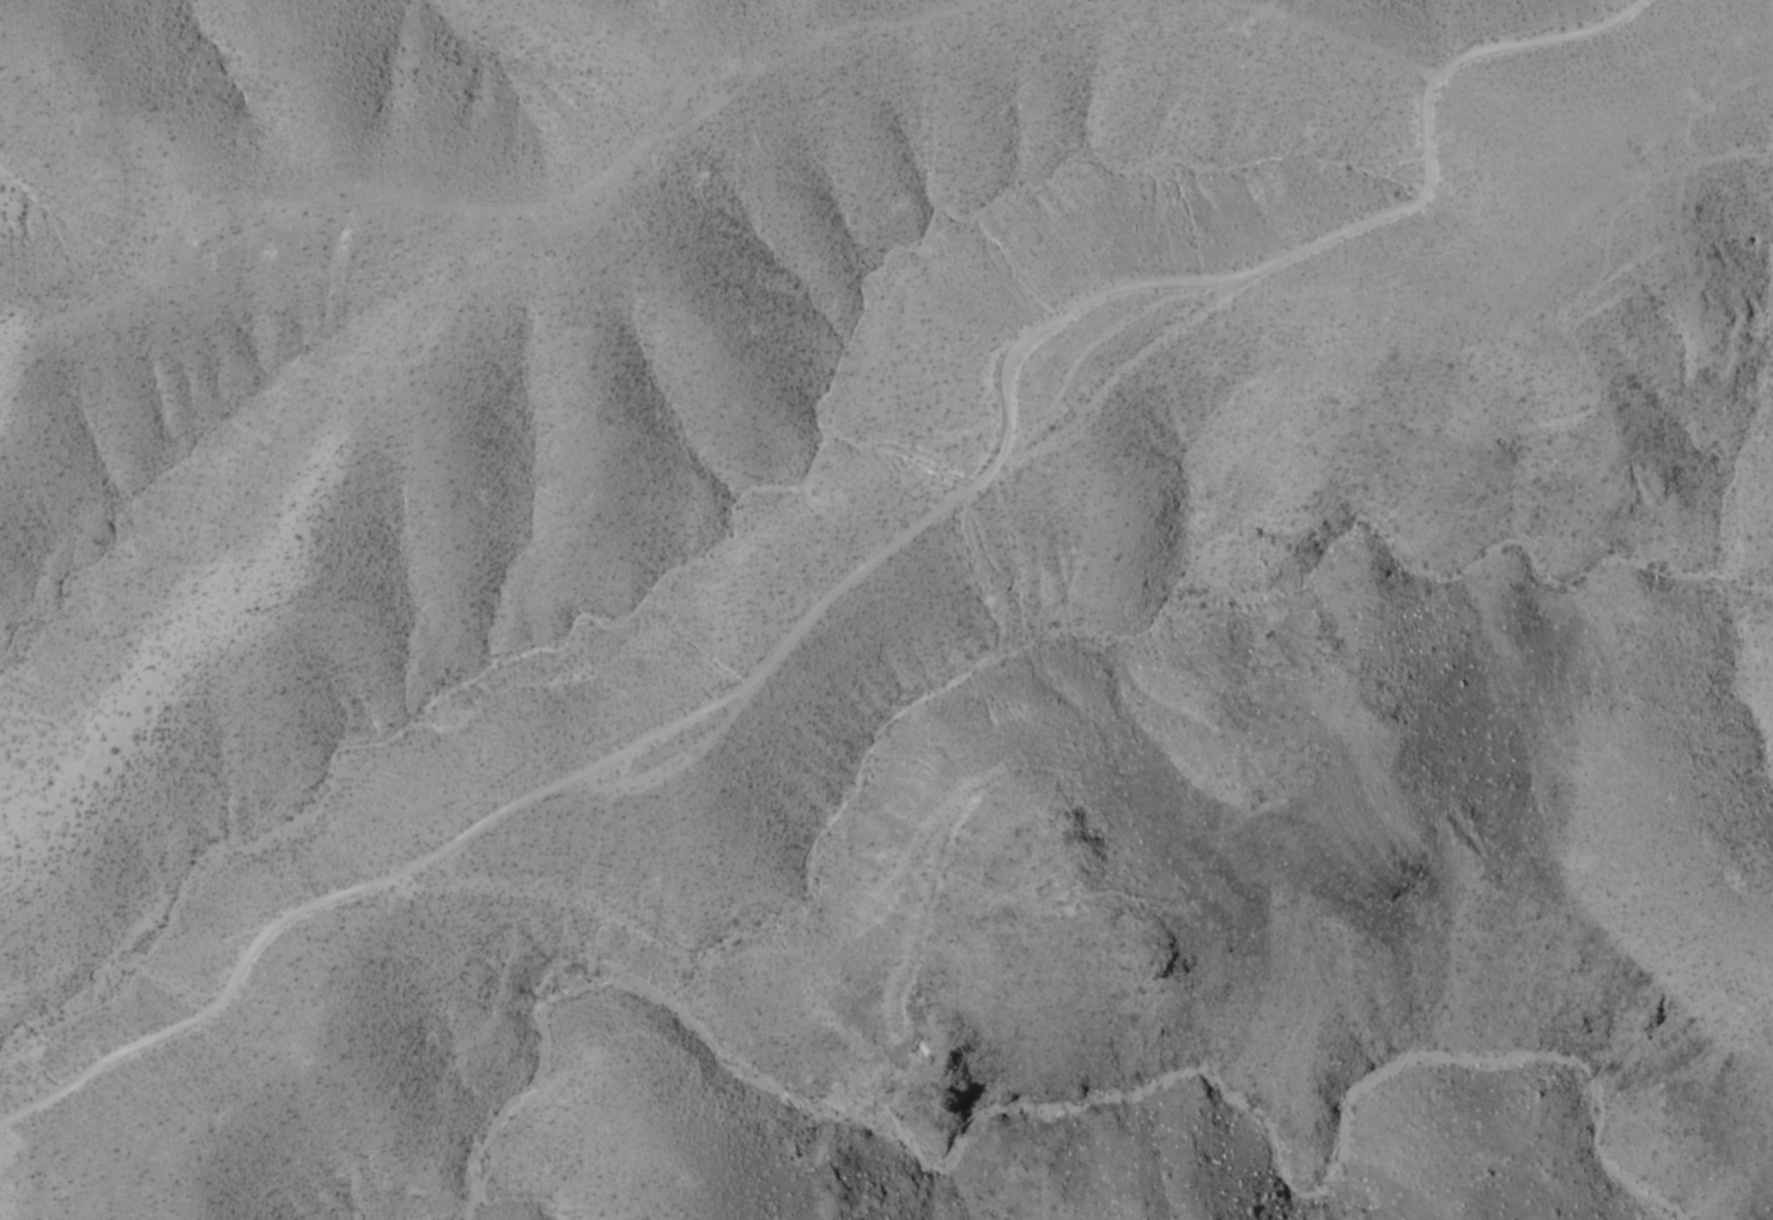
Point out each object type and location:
road: (899, 540)
road: (25, 1110)

